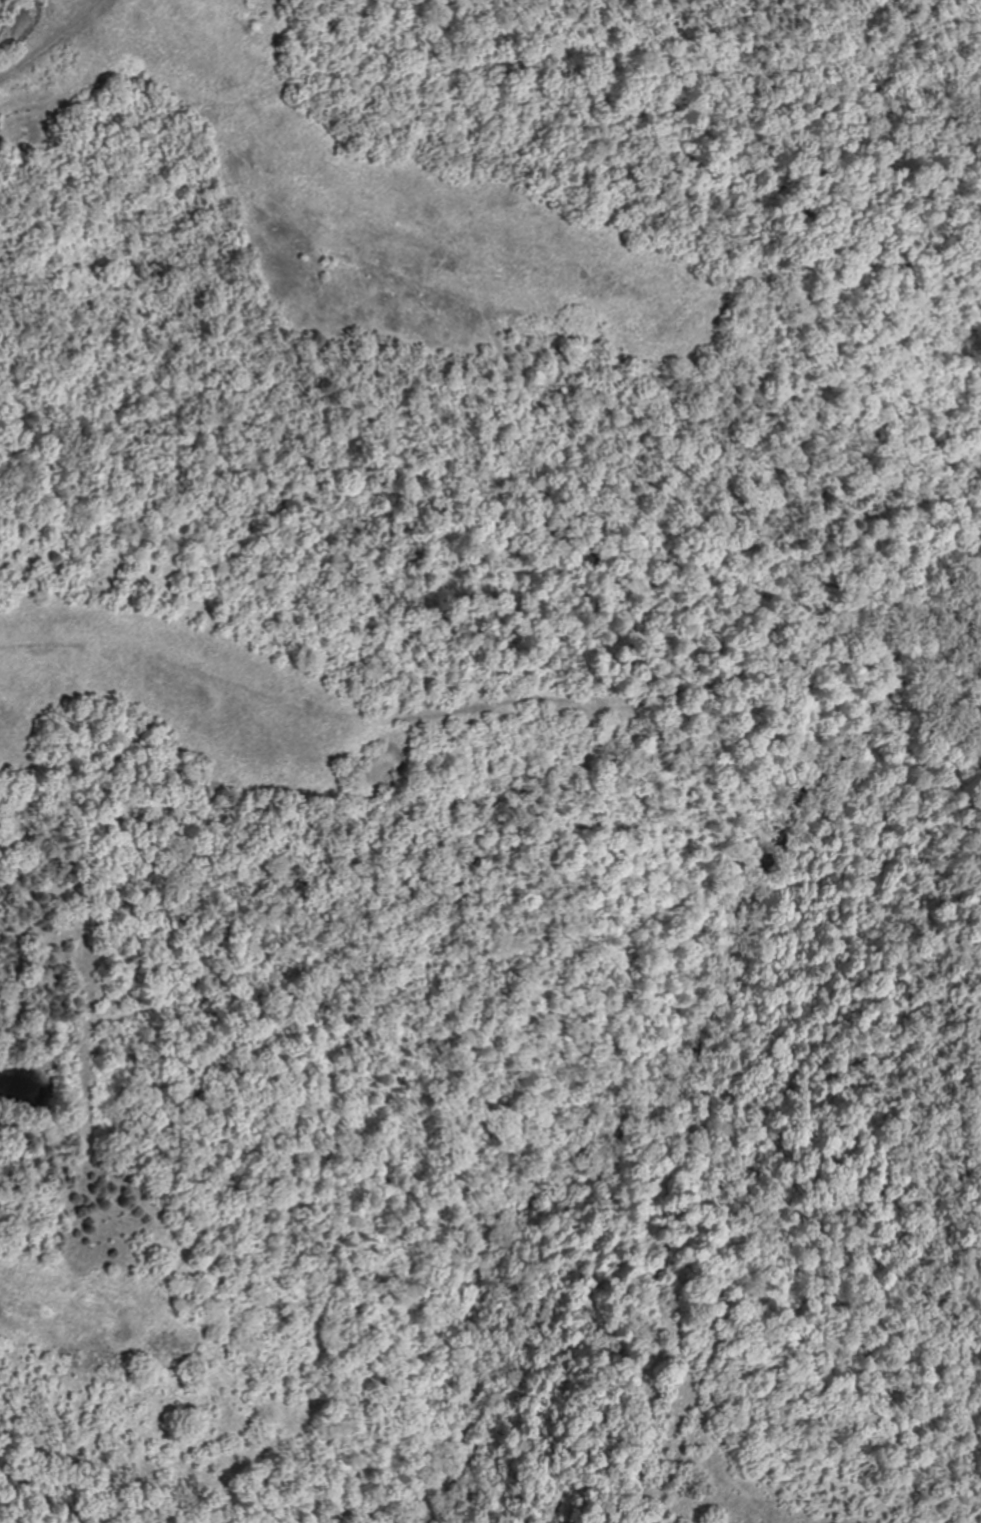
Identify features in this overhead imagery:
road: (53, 44)

